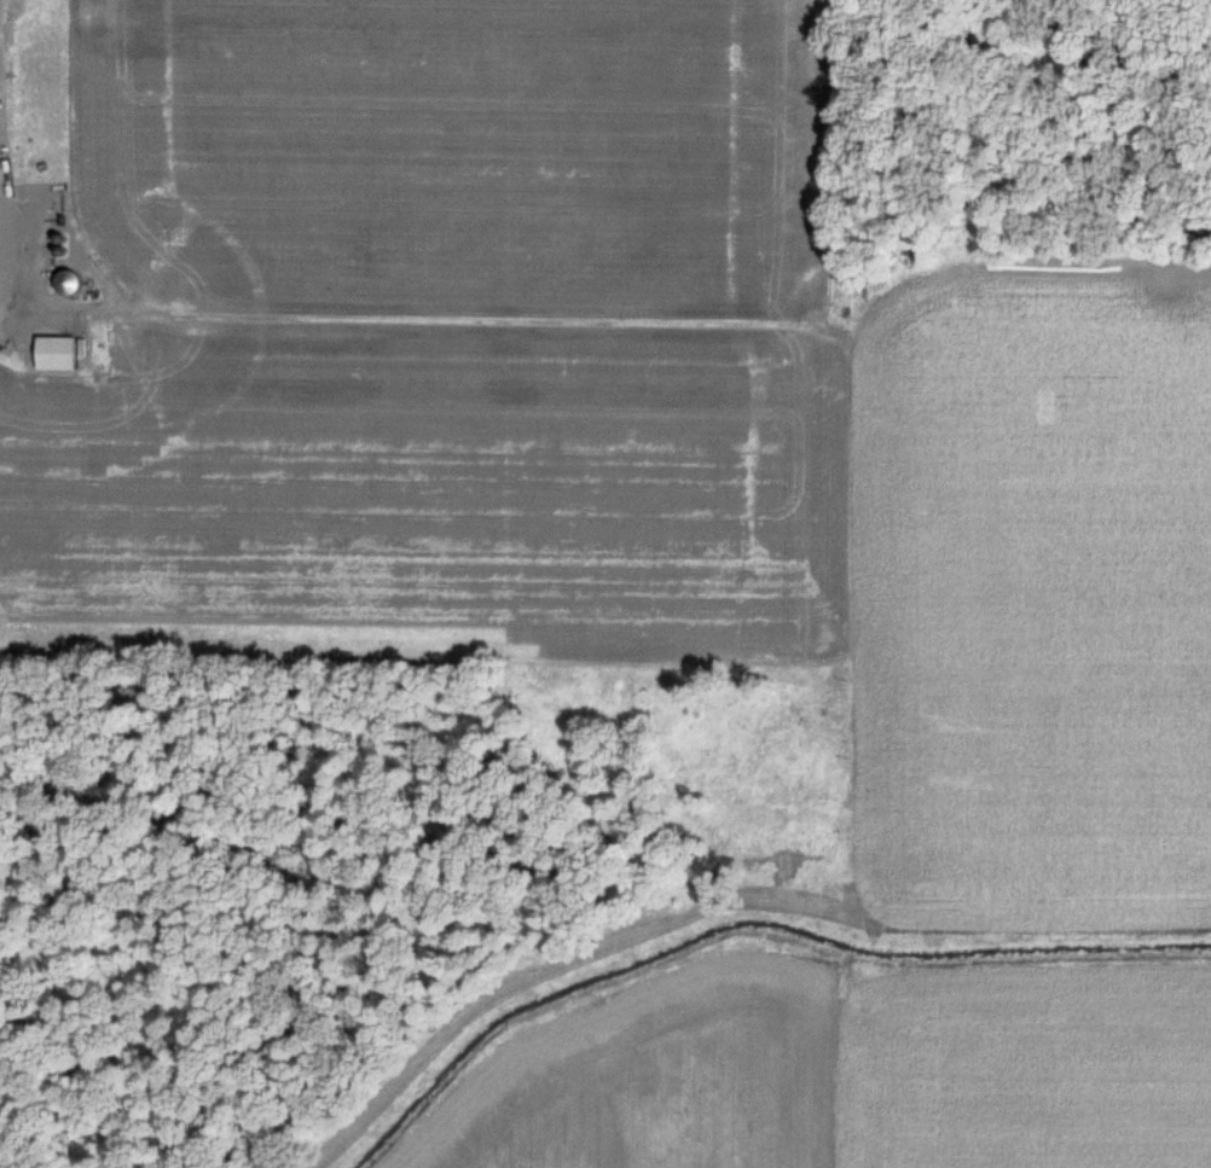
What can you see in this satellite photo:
building: (69, 280)
building: (60, 350)

